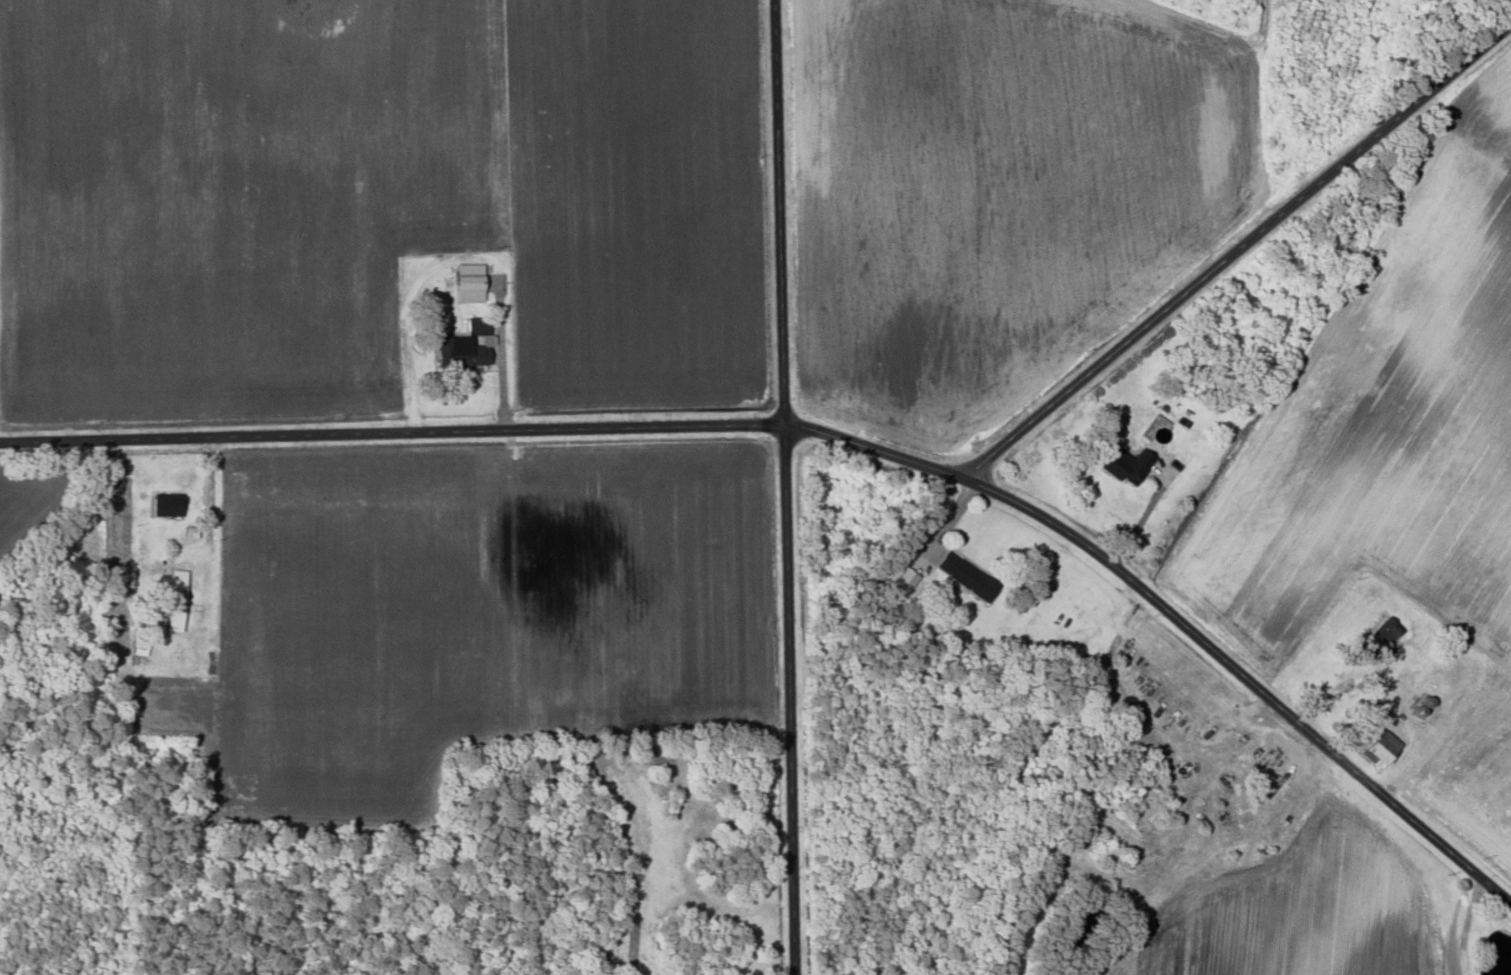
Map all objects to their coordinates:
road: (777, 214)
road: (1237, 248)
building: (467, 283)
building: (461, 346)
road: (392, 436)
road: (876, 452)
building: (1120, 463)
building: (164, 503)
building: (963, 575)
building: (174, 579)
building: (171, 614)
road: (1246, 680)
road: (787, 701)
building: (1379, 747)

